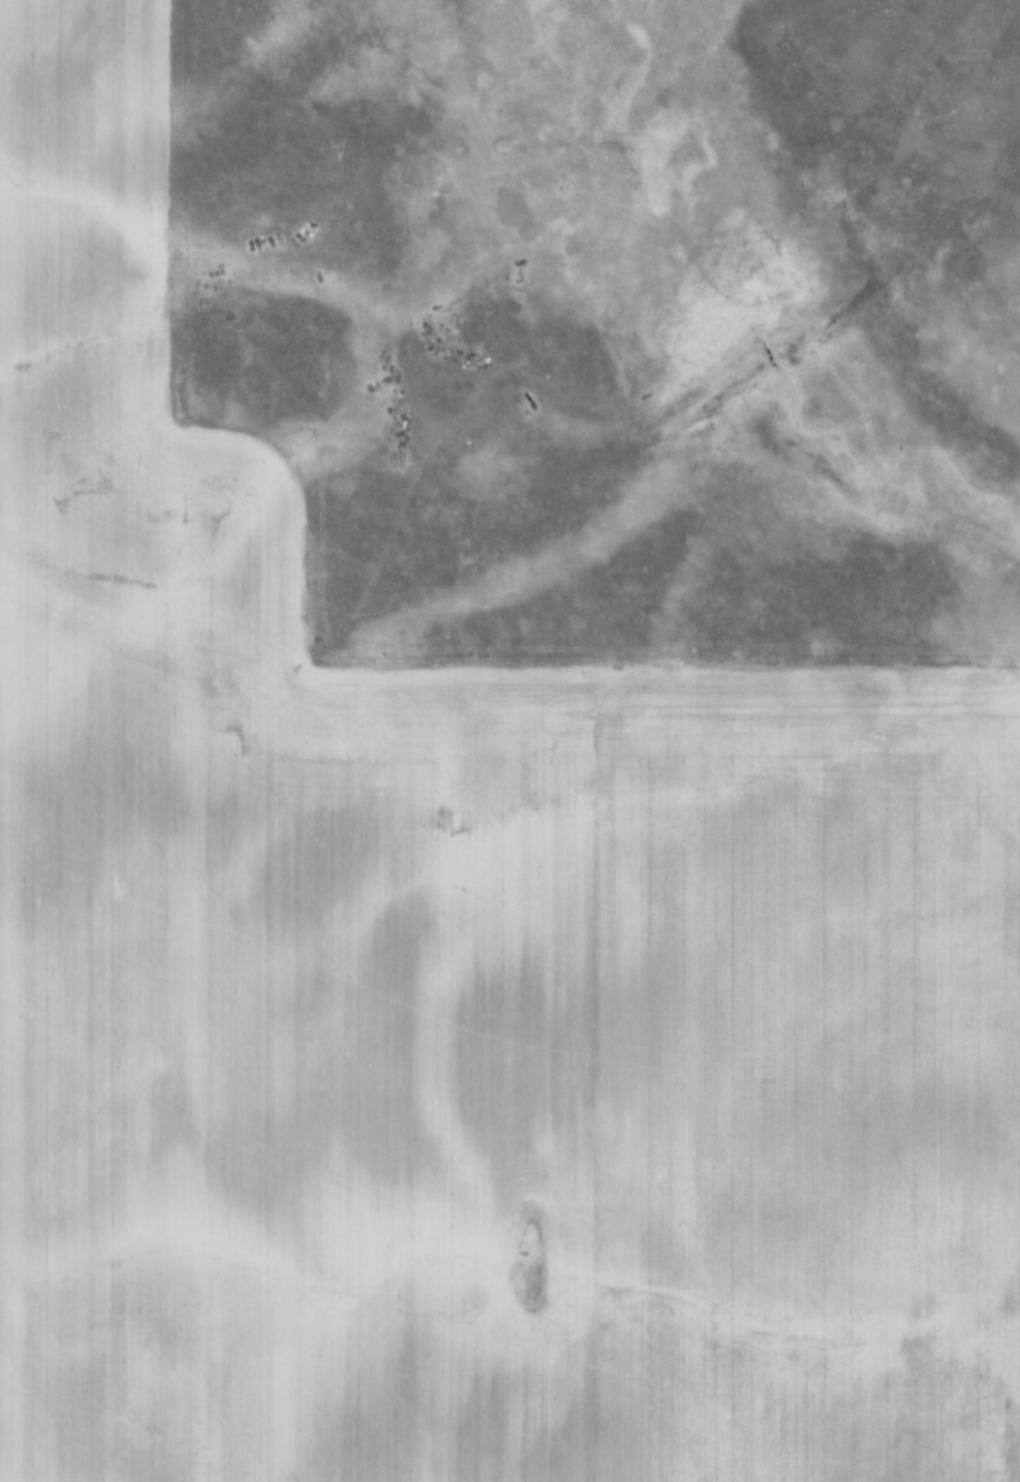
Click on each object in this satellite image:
road: (493, 692)

